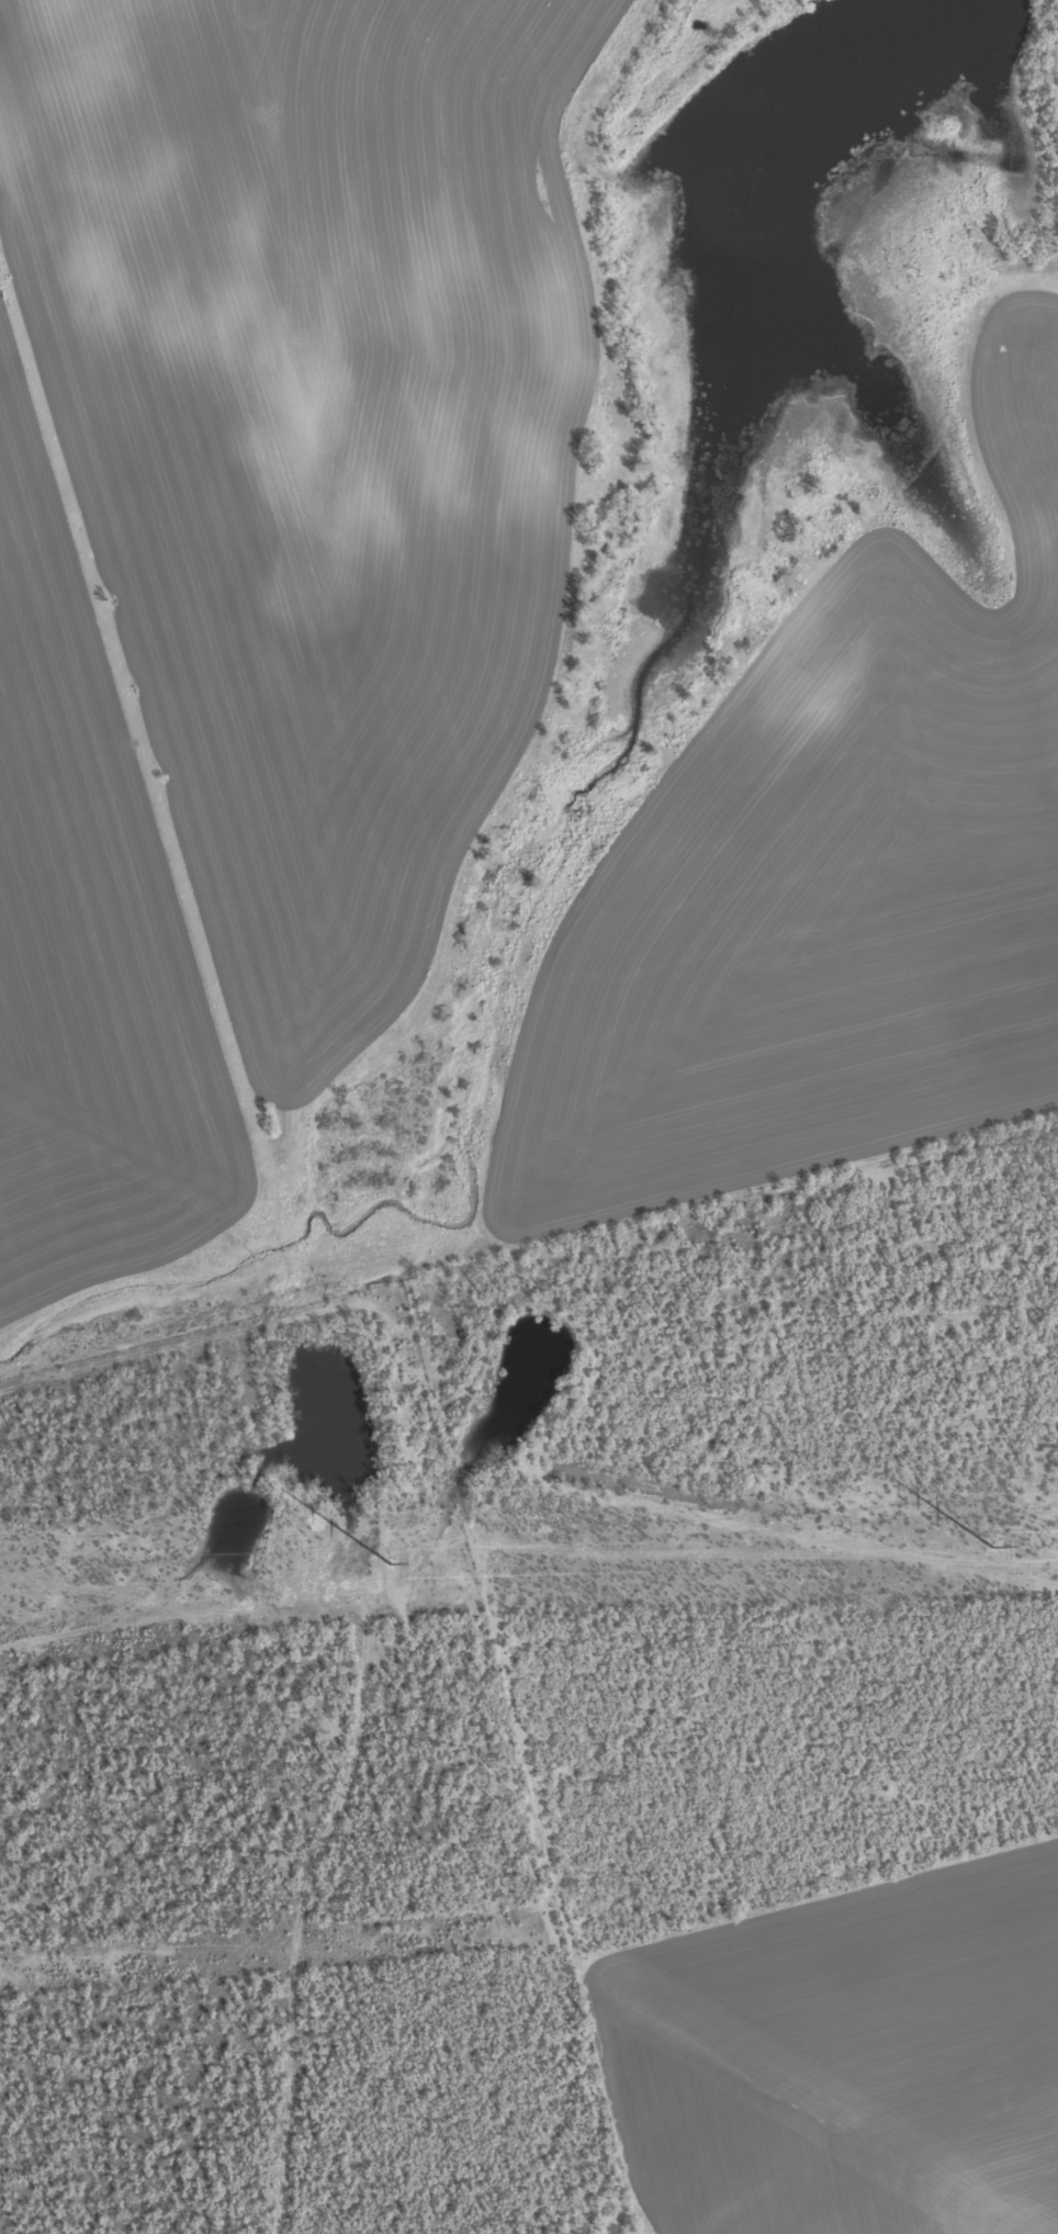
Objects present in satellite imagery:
power tower: (991, 1547)
power tower: (391, 1564)

